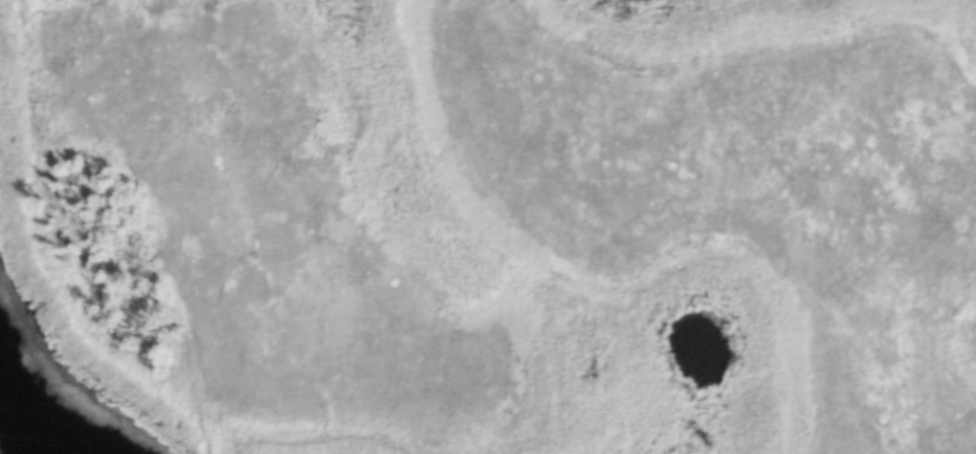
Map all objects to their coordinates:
road: (195, 285)

